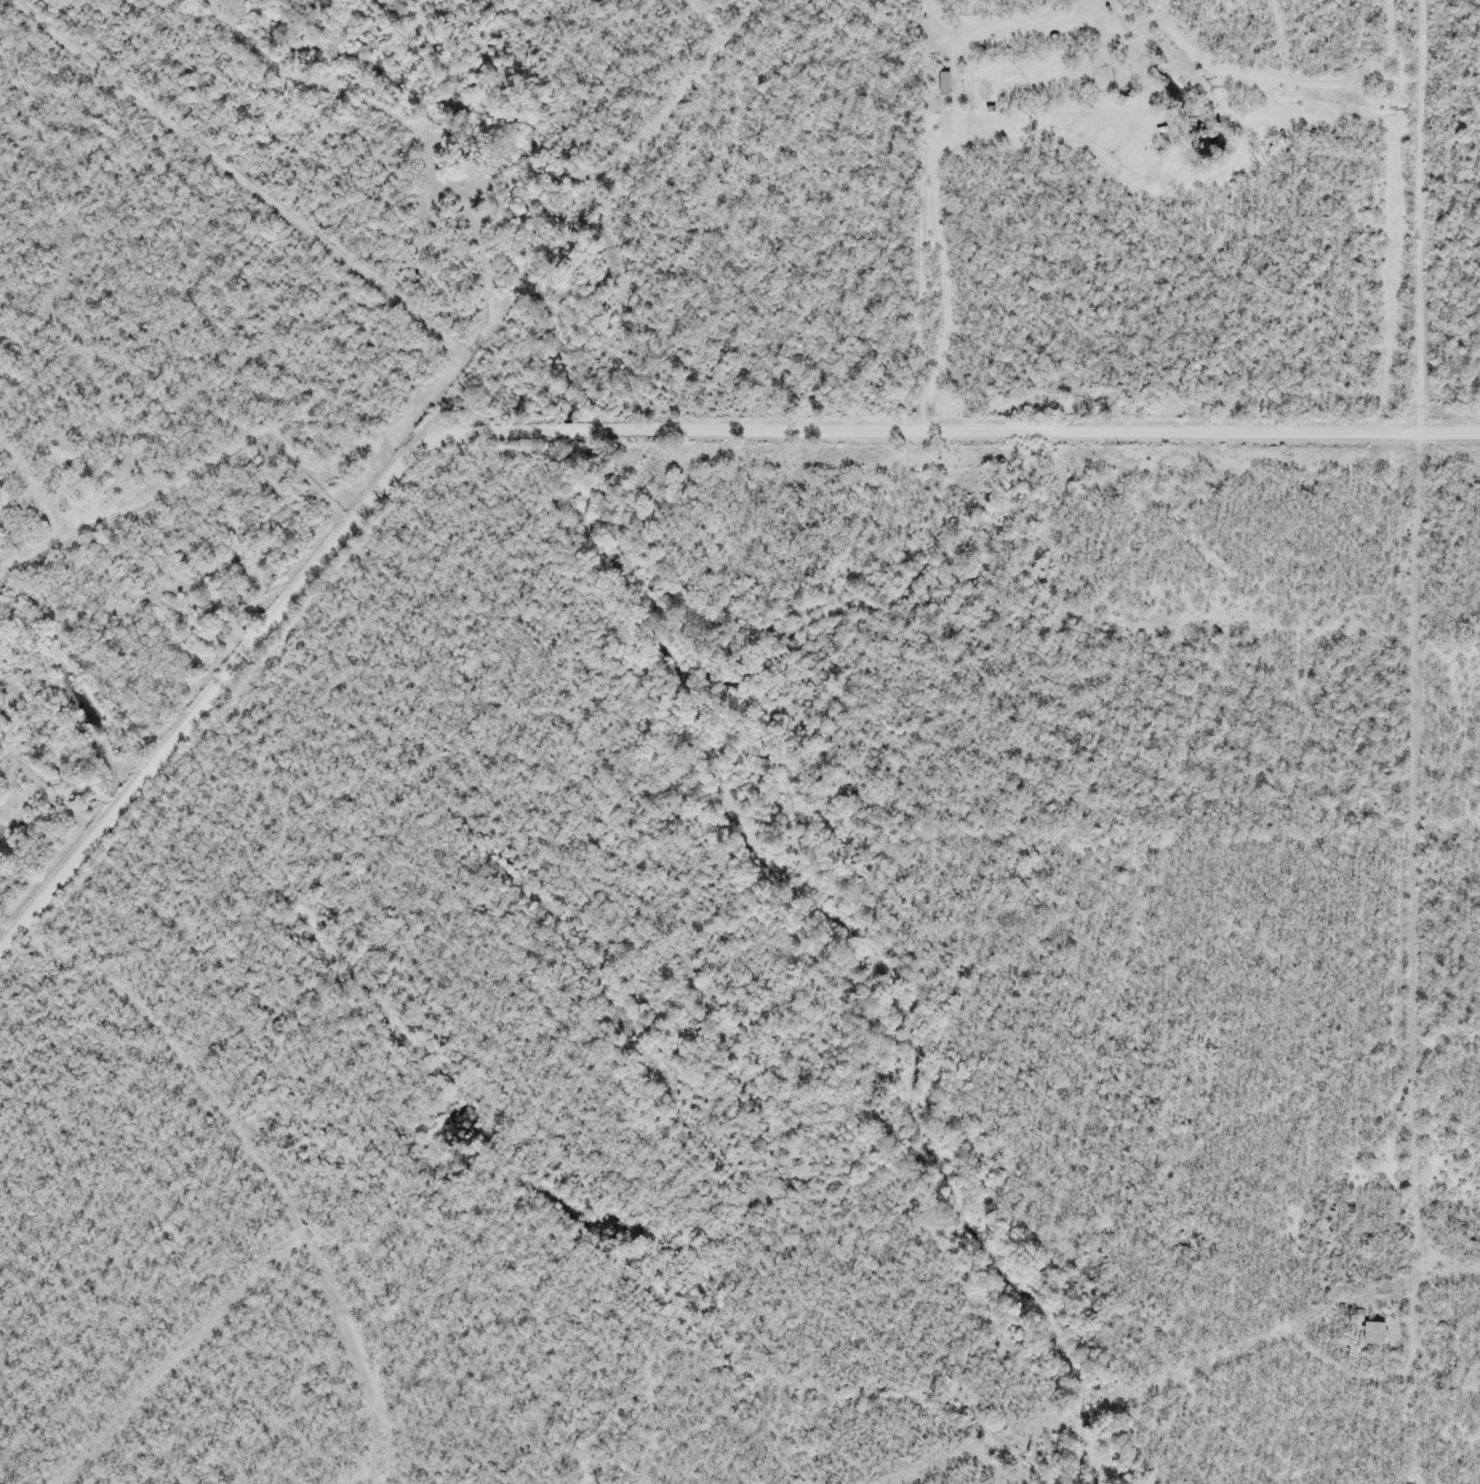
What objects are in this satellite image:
building: (942, 85)
road: (1420, 219)
road: (920, 273)
road: (620, 428)
building: (1372, 1335)

